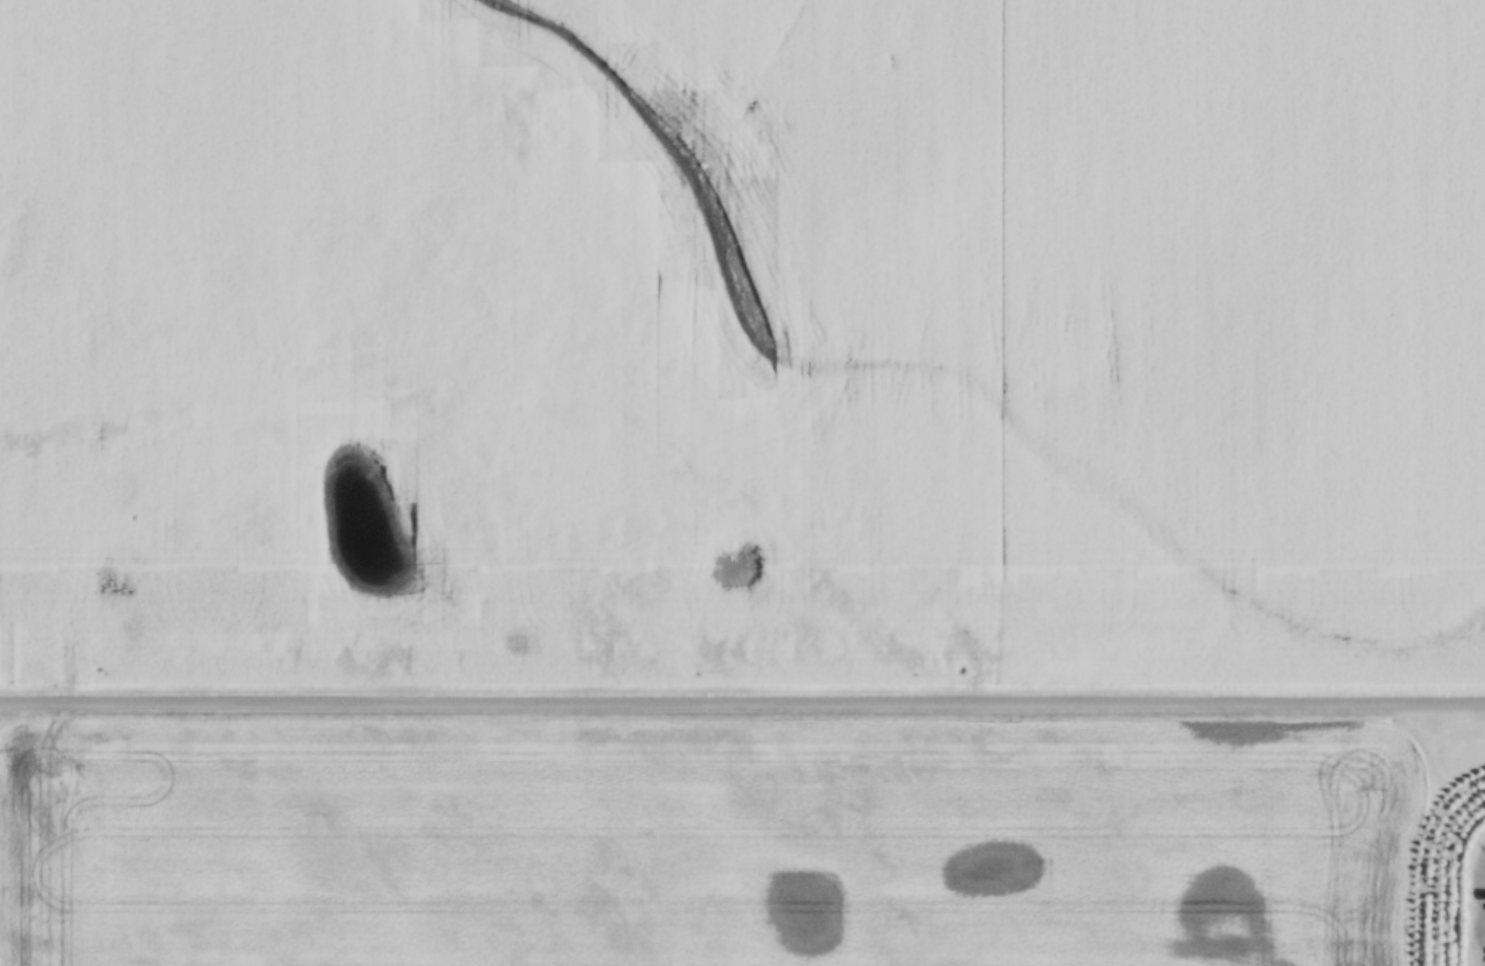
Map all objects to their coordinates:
road: (742, 705)

